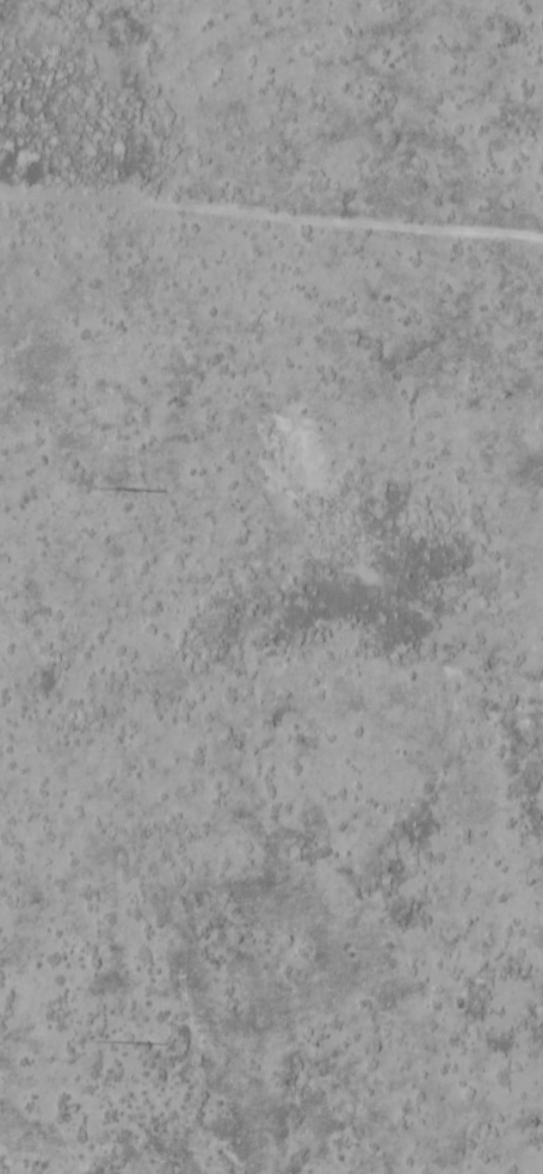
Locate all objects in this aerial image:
power tower: (92, 487)
power tower: (94, 1041)

